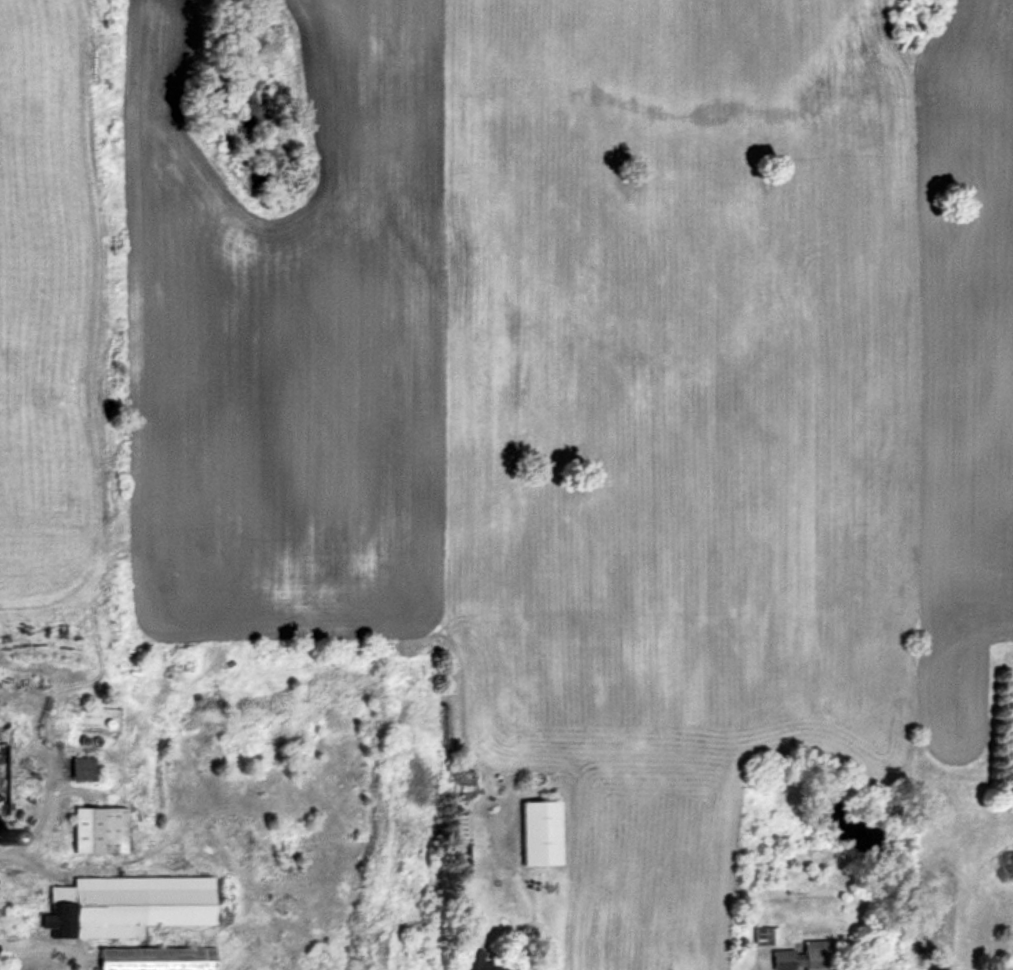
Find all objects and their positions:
building: (86, 766)
building: (5, 780)
road: (38, 814)
building: (103, 827)
building: (543, 830)
building: (131, 903)
building: (767, 933)
road: (40, 951)
building: (804, 955)
building: (161, 957)
building: (483, 960)

